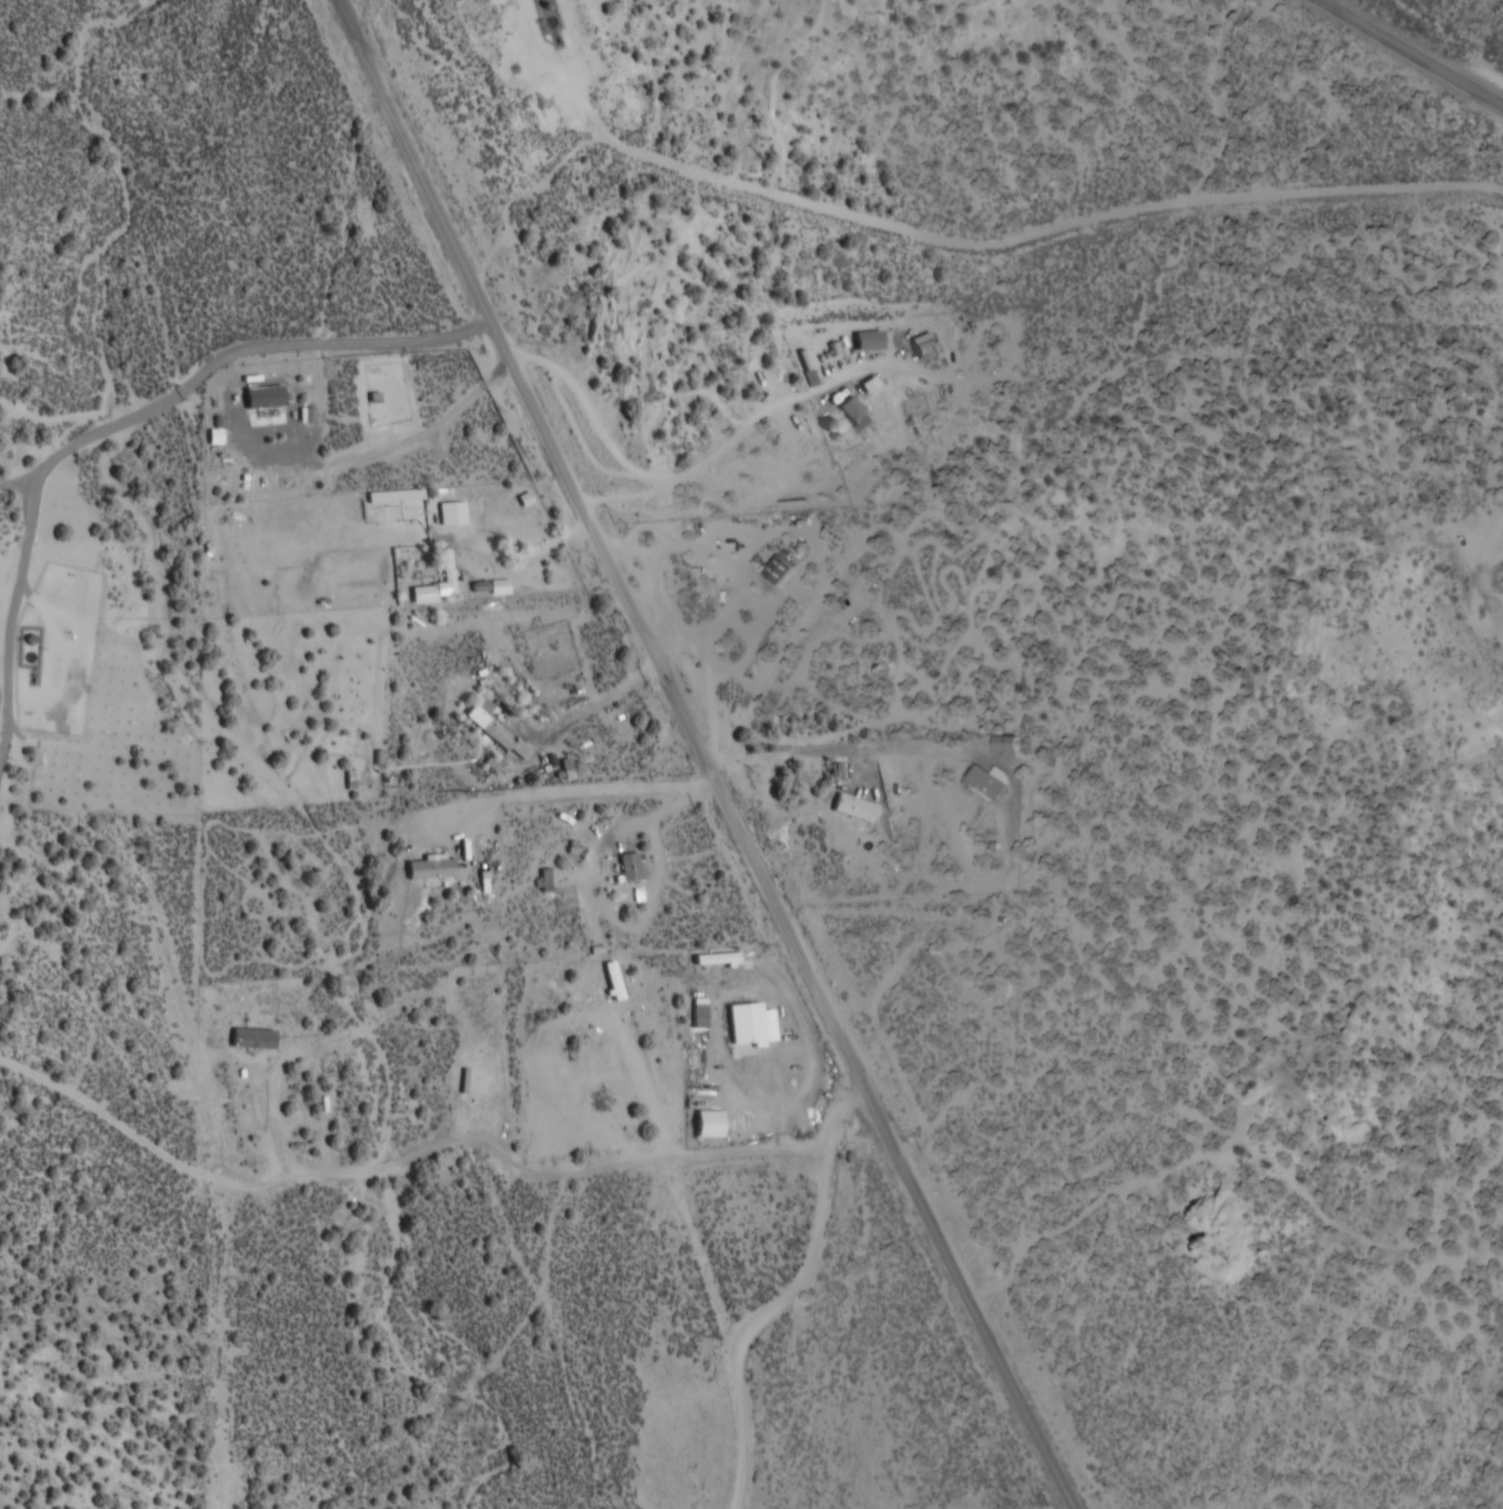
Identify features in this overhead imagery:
road: (1419, 49)
road: (972, 239)
building: (871, 341)
road: (236, 344)
building: (859, 415)
building: (454, 513)
road: (1488, 565)
building: (783, 570)
building: (465, 573)
building: (497, 728)
building: (1008, 746)
road: (710, 755)
building: (855, 809)
building: (631, 868)
building: (432, 870)
building: (546, 881)
building: (718, 960)
building: (998, 985)
building: (748, 1030)
building: (255, 1040)
building: (711, 1125)
road: (786, 1297)

